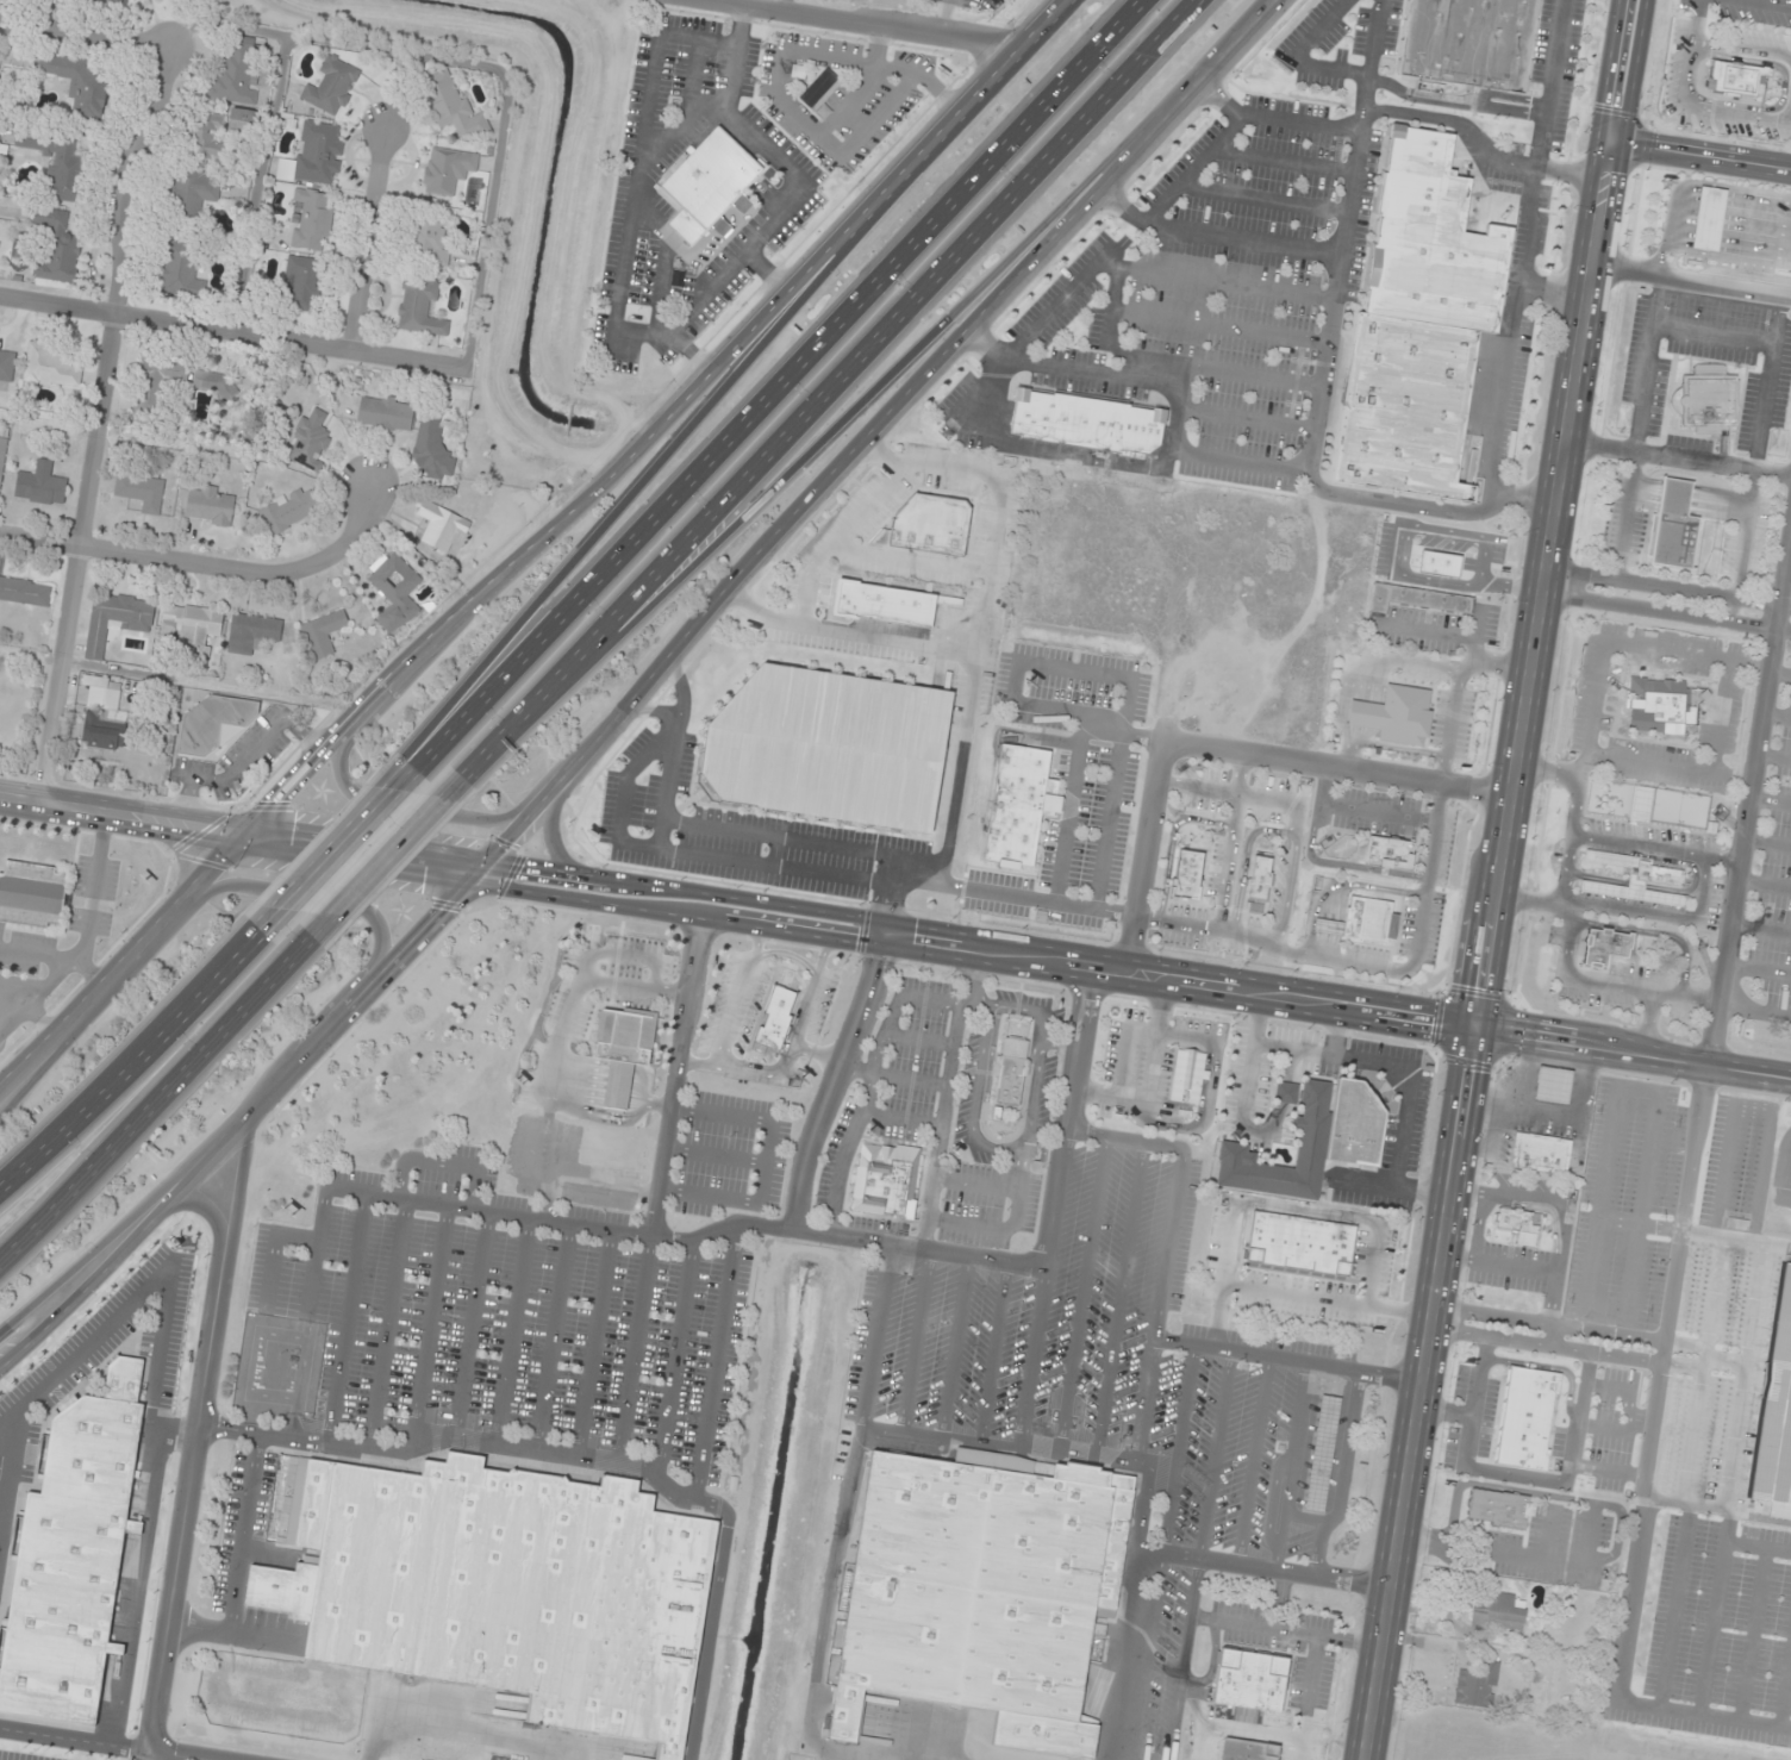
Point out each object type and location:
road: (1768, 2)
road: (1787, 4)
road: (1057, 17)
road: (943, 20)
road: (859, 26)
road: (86, 33)
building: (1466, 43)
road: (1742, 50)
road: (1298, 55)
road: (654, 57)
road: (734, 58)
road: (1368, 58)
road: (879, 67)
building: (235, 76)
road: (693, 76)
building: (1734, 79)
building: (77, 85)
building: (332, 87)
building: (818, 89)
road: (860, 89)
road: (1783, 89)
road: (1499, 95)
road: (1453, 101)
road: (1687, 102)
building: (453, 107)
road: (1271, 120)
road: (674, 127)
building: (204, 139)
traffic signals: (1608, 141)
road: (830, 150)
road: (1699, 154)
building: (316, 155)
road: (1283, 158)
building: (57, 163)
road: (1191, 168)
building: (447, 170)
building: (709, 186)
building: (194, 192)
road: (1261, 198)
road: (782, 210)
building: (1708, 219)
building: (311, 220)
gas station: (1705, 221)
road: (1215, 235)
building: (430, 239)
road: (369, 241)
building: (57, 248)
road: (1522, 252)
building: (180, 268)
road: (622, 275)
road: (767, 275)
road: (1690, 282)
building: (301, 285)
road: (1224, 285)
road: (1550, 291)
road: (661, 293)
road: (1333, 297)
road: (1057, 301)
building: (419, 308)
road: (1218, 326)
building: (1415, 327)
road: (235, 331)
road: (1712, 337)
road: (694, 352)
road: (1174, 363)
road: (1647, 366)
building: (54, 367)
road: (1125, 367)
road: (1072, 368)
building: (4, 369)
road: (885, 372)
building: (176, 380)
road: (1766, 382)
road: (830, 383)
road: (787, 386)
building: (1704, 400)
building: (385, 414)
road: (1244, 419)
road: (101, 420)
building: (1085, 422)
building: (308, 444)
building: (432, 450)
road: (1037, 453)
road: (1196, 455)
building: (2, 457)
road: (1677, 458)
building: (40, 485)
building: (141, 493)
road: (1689, 500)
building: (210, 506)
road: (868, 506)
building: (288, 511)
road: (1625, 516)
building: (926, 524)
building: (1671, 525)
road: (1790, 525)
building: (443, 528)
road: (593, 536)
road: (1742, 547)
road: (537, 550)
road: (910, 561)
road: (204, 562)
building: (1437, 564)
road: (1786, 570)
road: (747, 578)
road: (807, 582)
road: (1668, 587)
building: (25, 592)
building: (395, 593)
building: (1415, 598)
building: (882, 601)
road: (1666, 613)
road: (982, 618)
building: (114, 620)
building: (189, 625)
road: (1425, 631)
building: (324, 632)
road: (850, 632)
building: (251, 634)
road: (1379, 662)
road: (1500, 666)
road: (1779, 675)
road: (1127, 678)
building: (110, 693)
road: (1454, 694)
road: (1593, 694)
building: (1658, 705)
road: (651, 711)
building: (1392, 713)
road: (1776, 716)
road: (1720, 717)
building: (213, 725)
building: (104, 730)
road: (1122, 735)
building: (825, 747)
road: (1386, 747)
road: (1219, 749)
road: (1773, 756)
road: (1667, 766)
road: (1549, 770)
road: (666, 784)
road: (1322, 786)
road: (1197, 789)
road: (1284, 801)
road: (1770, 801)
road: (404, 804)
building: (1017, 804)
building: (1639, 804)
park: (1678, 809)
road: (1377, 813)
road: (1068, 816)
traffic signals: (239, 838)
road: (1169, 841)
road: (1231, 841)
road: (1767, 843)
road: (819, 844)
road: (562, 845)
road: (655, 847)
road: (1639, 847)
road: (336, 848)
building: (1385, 851)
road: (385, 859)
road: (1244, 860)
road: (1723, 860)
road: (1340, 865)
road: (1690, 865)
building: (1185, 872)
building: (1630, 873)
building: (1655, 873)
traffic signals: (475, 878)
building: (1258, 878)
road: (1596, 879)
road: (1502, 880)
road: (1764, 884)
road: (1635, 885)
road: (91, 890)
road: (1286, 893)
building: (31, 894)
road: (1013, 897)
road: (312, 898)
parking lot: (89, 899)
road: (1536, 904)
road: (1661, 916)
road: (738, 918)
building: (1360, 920)
road: (1760, 928)
road: (1654, 932)
building: (1603, 945)
road: (56, 961)
road: (1362, 966)
road: (1758, 971)
road: (60, 978)
road: (1610, 985)
road: (23, 988)
parking lot: (18, 1001)
road: (1754, 1010)
road: (23, 1012)
building: (775, 1017)
road: (1646, 1023)
road: (39, 1024)
traffic signals: (1480, 1029)
road: (1186, 1038)
building: (622, 1050)
road: (1125, 1050)
road: (50, 1051)
road: (1635, 1054)
road: (129, 1057)
building: (1011, 1072)
road: (675, 1074)
building: (1185, 1076)
road: (1149, 1079)
road: (832, 1084)
building: (1550, 1086)
building: (1285, 1093)
road: (154, 1101)
road: (1700, 1107)
road: (1202, 1119)
building: (1311, 1141)
building: (1539, 1154)
road: (439, 1162)
building: (885, 1182)
road: (425, 1203)
road: (145, 1206)
building: (1517, 1225)
building: (1298, 1246)
road: (1166, 1247)
road: (273, 1253)
road: (993, 1259)
road: (112, 1261)
road: (158, 1277)
road: (1082, 1293)
road: (1119, 1299)
road: (345, 1318)
road: (470, 1324)
road: (387, 1325)
road: (429, 1328)
road: (511, 1330)
road: (876, 1335)
road: (551, 1337)
road: (915, 1341)
road: (593, 1343)
road: (955, 1346)
road: (634, 1349)
road: (993, 1352)
road: (1031, 1358)
road: (675, 1359)
road: (1287, 1359)
road: (717, 1362)
building: (1774, 1413)
road: (462, 1437)
road: (1177, 1449)
road: (191, 1453)
building: (1321, 1453)
gas station: (1321, 1453)
road: (1213, 1454)
road: (1254, 1460)
road: (7, 1465)
road: (1292, 1466)
road: (1341, 1474)
road: (2, 1488)
road: (1142, 1492)
building: (1497, 1510)
road: (243, 1533)
building: (70, 1553)
building: (501, 1586)
building: (982, 1591)
building: (1504, 1608)
road: (826, 1609)
road: (227, 1631)
road: (709, 1631)
road: (1131, 1655)
road: (1181, 1659)
building: (1249, 1684)
building: (1479, 1684)
road: (454, 1728)
road: (74, 1740)
building: (1247, 1749)
road: (174, 1755)

